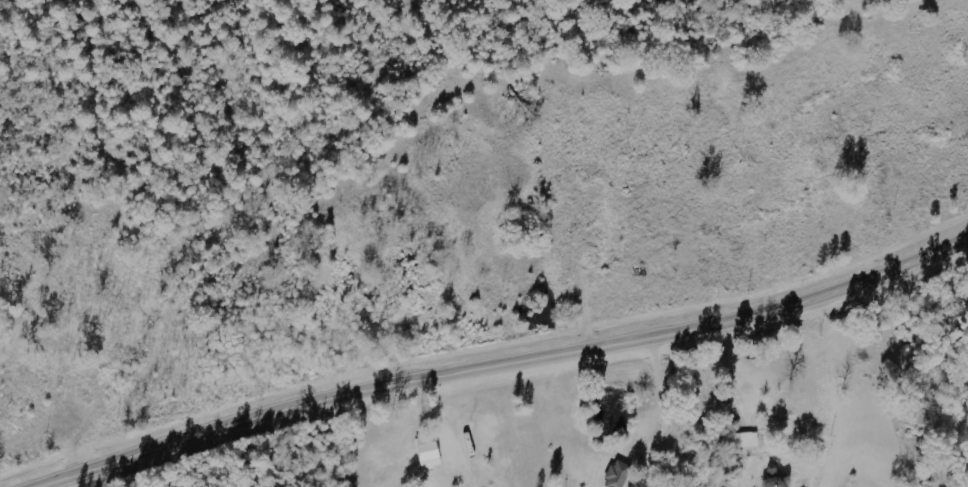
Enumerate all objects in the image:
road: (729, 161)
road: (505, 365)
building: (739, 440)
building: (425, 455)
building: (615, 474)
building: (776, 478)

